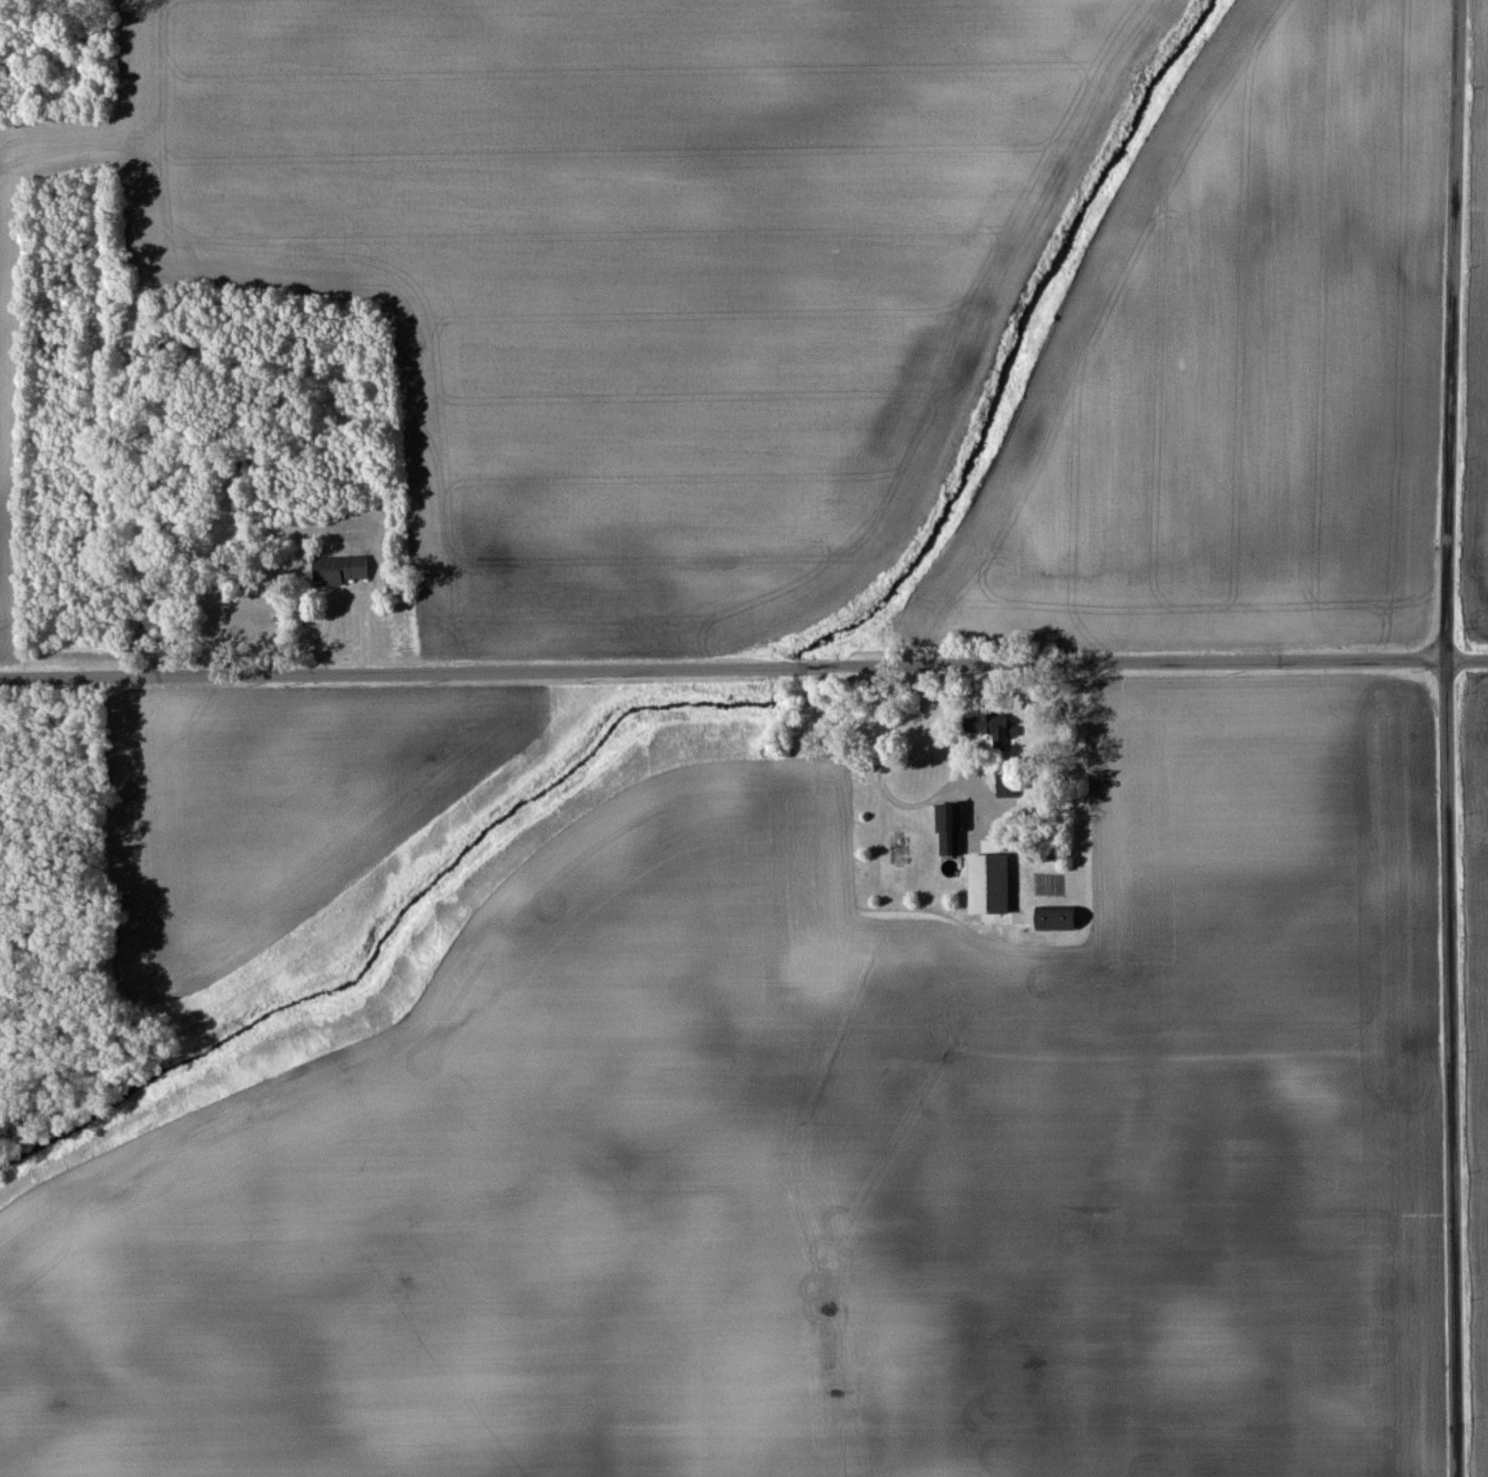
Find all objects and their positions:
road: (1443, 326)
building: (336, 569)
building: (139, 629)
road: (743, 657)
building: (986, 726)
road: (920, 797)
building: (944, 829)
building: (1049, 917)
road: (1442, 1065)

